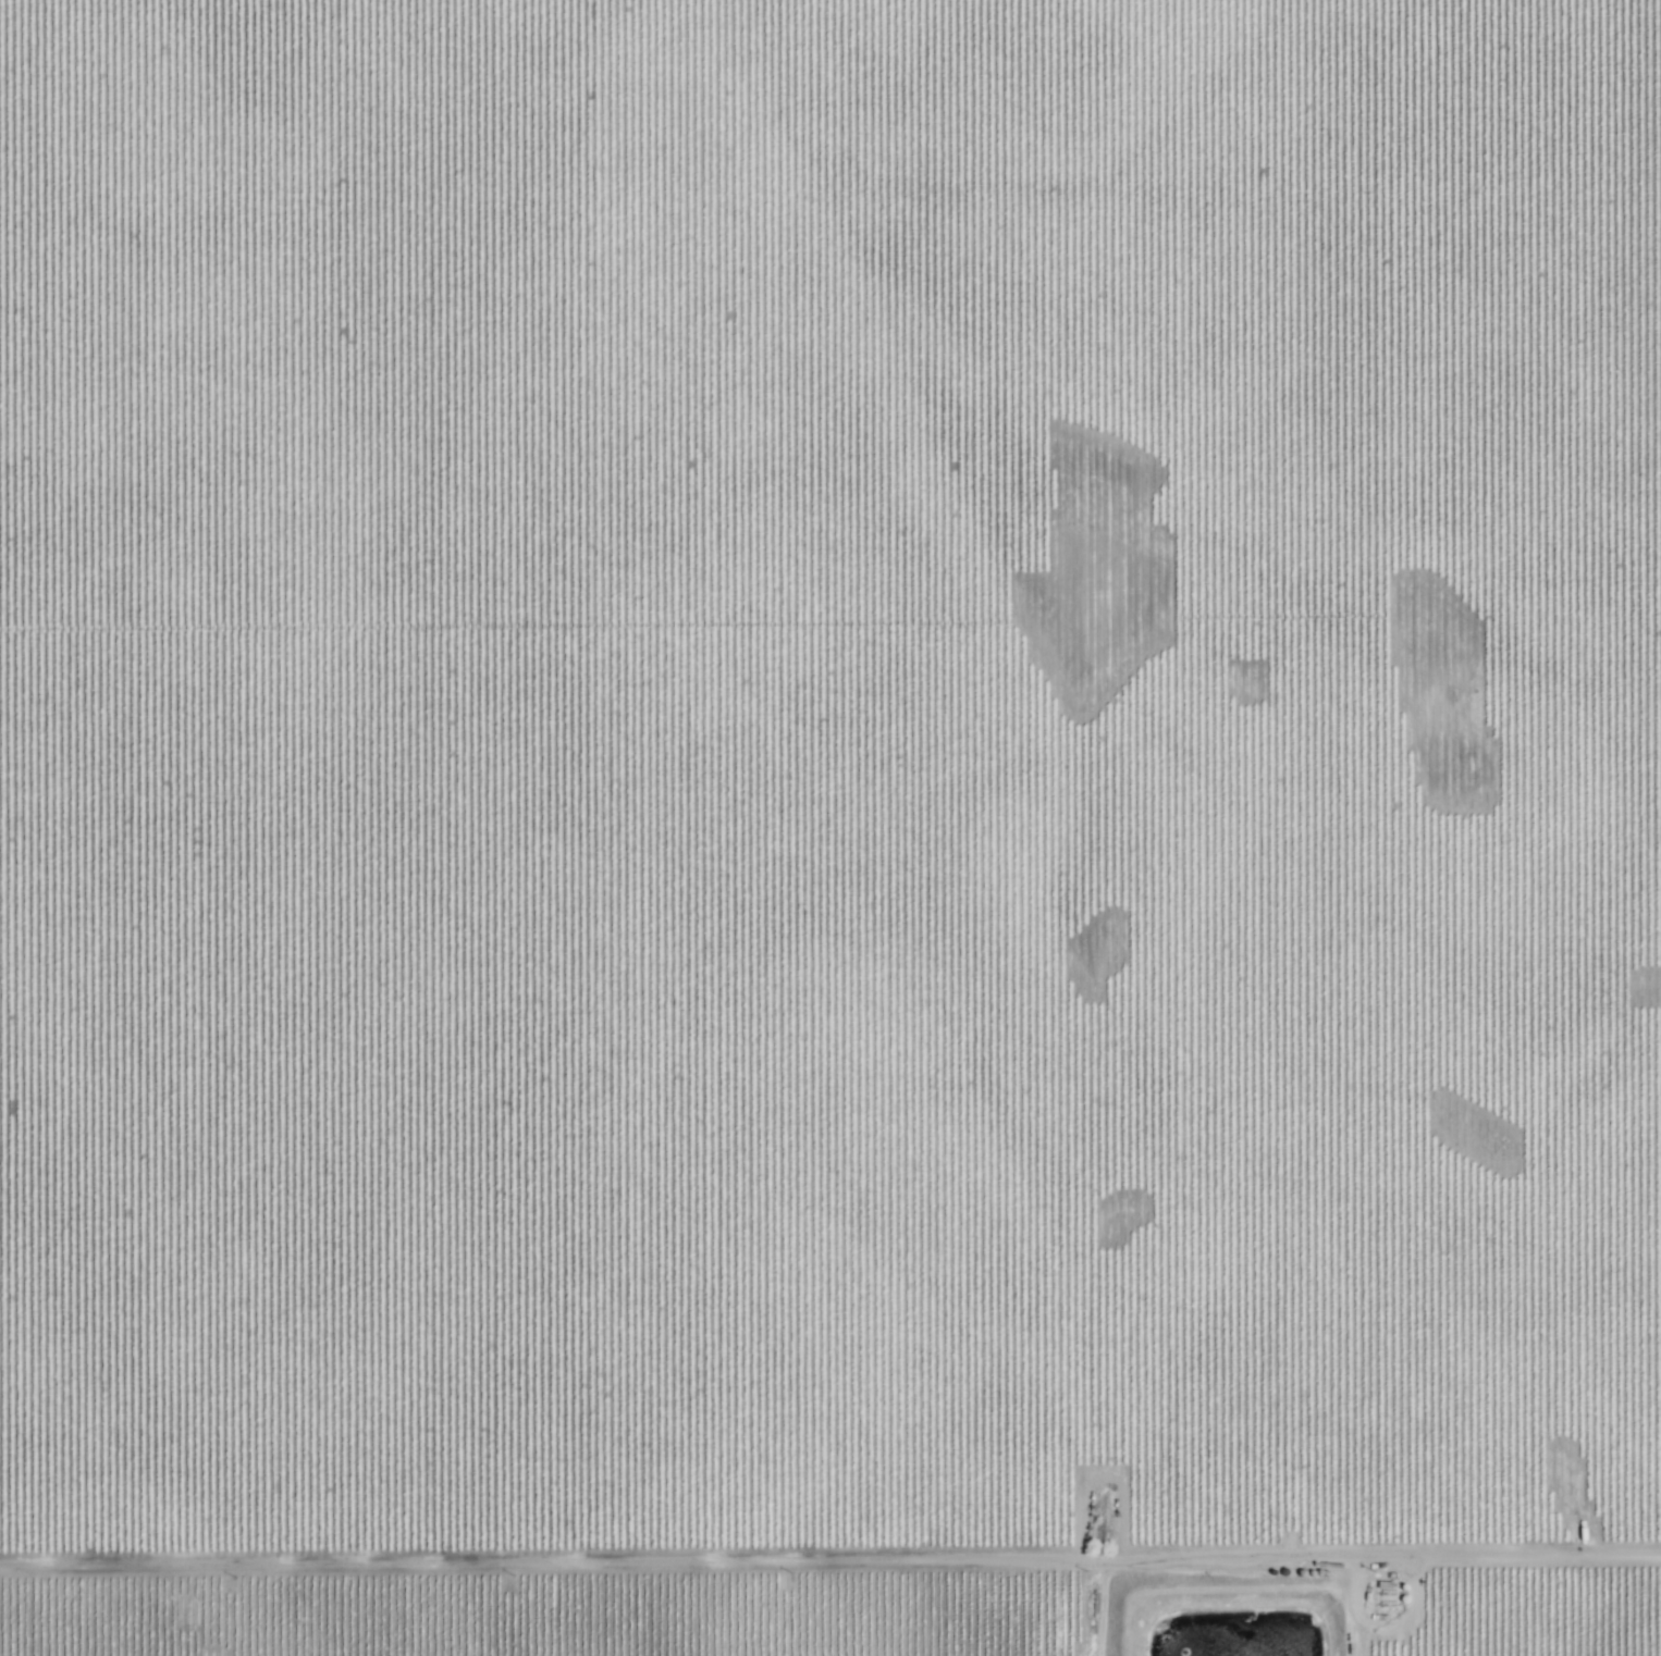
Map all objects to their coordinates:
building: (1388, 1598)

